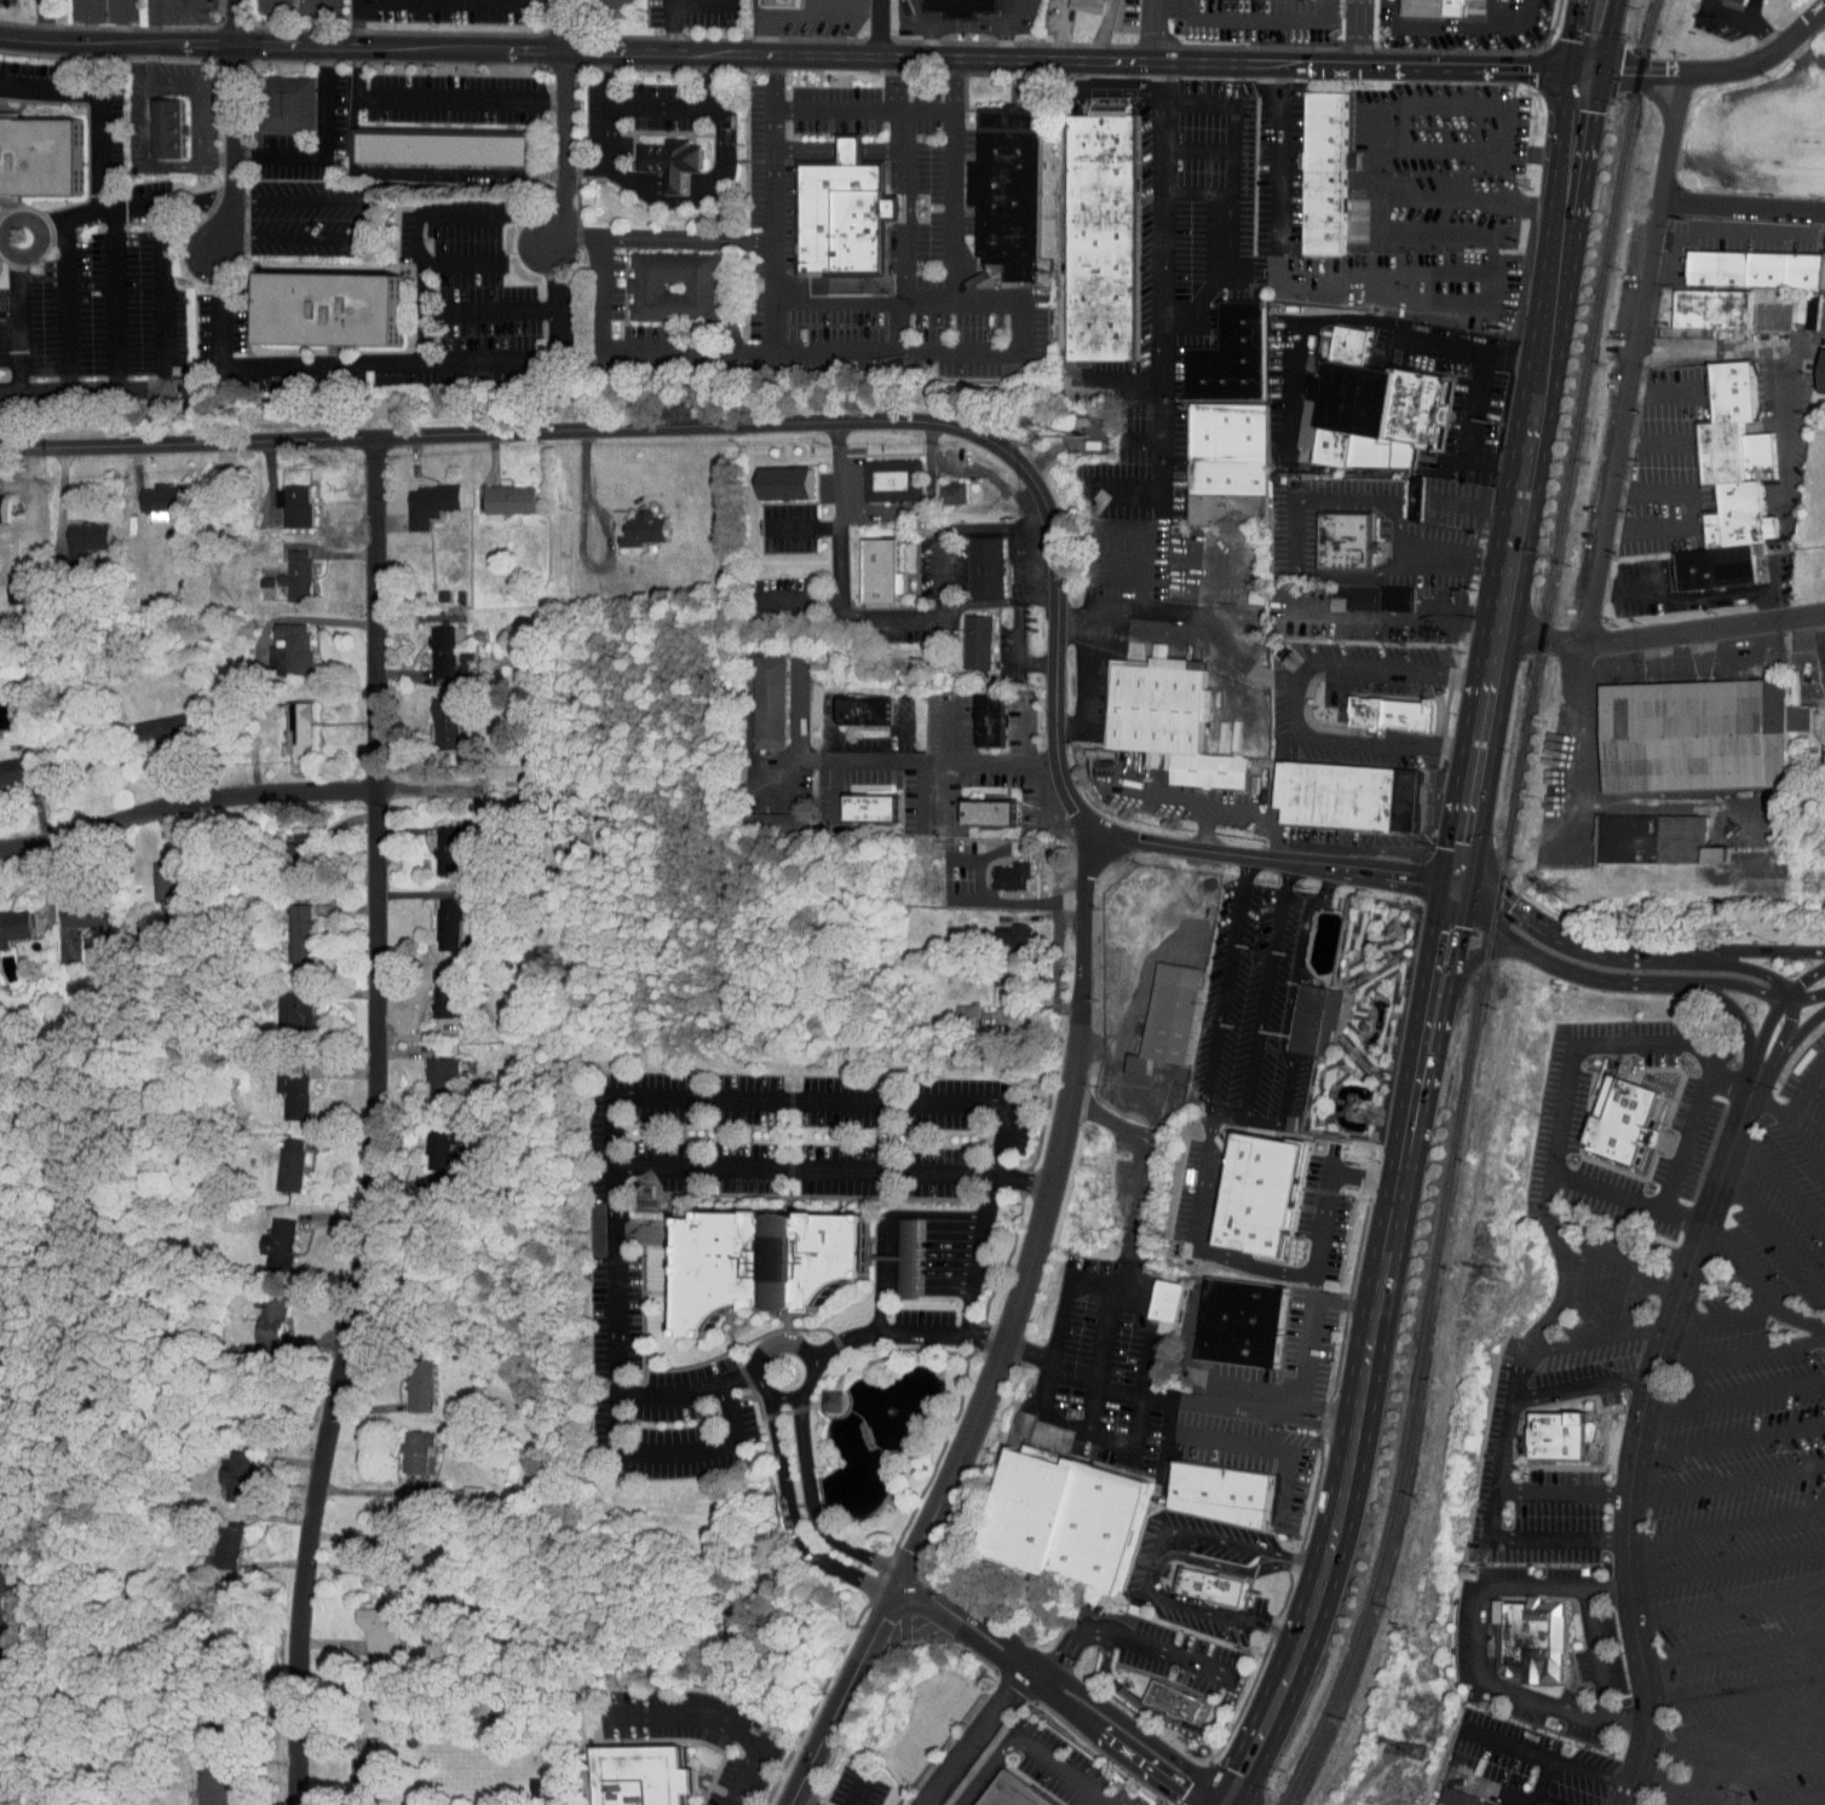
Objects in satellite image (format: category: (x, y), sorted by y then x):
road: (542, 0)
building: (781, 2)
building: (1075, 2)
road: (159, 5)
building: (963, 5)
building: (1437, 7)
road: (805, 10)
road: (1250, 13)
road: (41, 21)
road: (87, 22)
road: (123, 22)
road: (235, 22)
road: (276, 23)
road: (358, 23)
road: (669, 25)
road: (879, 25)
road: (928, 25)
road: (1433, 25)
road: (1508, 25)
road: (978, 27)
road: (1042, 28)
road: (1087, 29)
road: (1151, 30)
road: (1358, 33)
road: (1577, 38)
road: (1604, 40)
road: (790, 52)
road: (1711, 71)
traffic signals: (1582, 76)
road: (775, 80)
road: (897, 82)
road: (46, 90)
road: (1101, 90)
road: (201, 94)
road: (434, 99)
road: (679, 99)
road: (1658, 100)
building: (287, 105)
road: (1386, 105)
road: (799, 109)
road: (608, 111)
building: (152, 122)
road: (93, 125)
road: (564, 125)
building: (1743, 127)
road: (150, 145)
building: (441, 146)
road: (327, 148)
road: (840, 149)
road: (1197, 149)
road: (232, 150)
road: (905, 150)
building: (40, 154)
building: (656, 155)
road: (1278, 155)
building: (1824, 161)
road: (588, 171)
building: (1325, 173)
road: (691, 184)
road: (1197, 192)
road: (1228, 202)
road: (1741, 202)
building: (1009, 203)
road: (121, 204)
road: (415, 215)
building: (841, 215)
road: (370, 225)
road: (658, 237)
building: (1101, 237)
road: (904, 244)
road: (462, 263)
building: (1729, 281)
road: (1479, 283)
building: (674, 284)
road: (1163, 287)
road: (116, 298)
road: (864, 300)
road: (68, 305)
building: (1797, 306)
building: (329, 308)
road: (488, 313)
road: (1353, 319)
road: (13, 321)
road: (1732, 340)
road: (634, 345)
road: (1023, 348)
building: (1232, 356)
road: (382, 367)
road: (162, 369)
road: (1772, 371)
road: (1115, 381)
building: (1824, 381)
road: (1664, 391)
building: (1378, 411)
road: (707, 423)
road: (1469, 431)
road: (1141, 438)
road: (1654, 440)
road: (1616, 460)
road: (932, 465)
building: (1230, 465)
building: (879, 472)
building: (770, 475)
road: (1525, 480)
building: (939, 485)
road: (1123, 485)
building: (1729, 485)
building: (495, 491)
building: (145, 492)
building: (415, 496)
building: (280, 497)
road: (61, 502)
road: (887, 511)
road: (1691, 511)
building: (628, 521)
road: (1290, 524)
road: (804, 526)
road: (960, 530)
building: (71, 532)
road: (609, 541)
building: (1345, 542)
road: (1452, 557)
building: (974, 559)
building: (865, 564)
building: (282, 567)
road: (842, 569)
road: (1694, 595)
road: (800, 600)
road: (998, 600)
road: (1204, 621)
road: (1411, 622)
road: (1664, 630)
building: (963, 634)
building: (278, 639)
building: (432, 646)
road: (1021, 646)
road: (1087, 674)
building: (755, 694)
road: (1296, 697)
building: (850, 703)
building: (1388, 711)
building: (975, 713)
building: (431, 715)
building: (283, 719)
building: (1167, 720)
building: (146, 721)
building: (1696, 737)
road: (876, 759)
building: (6, 763)
road: (234, 792)
building: (1347, 798)
building: (857, 800)
building: (973, 805)
road: (1239, 808)
building: (764, 814)
building: (986, 840)
building: (1652, 840)
building: (434, 842)
building: (281, 852)
road: (1273, 858)
building: (997, 869)
building: (154, 877)
traffic signals: (1461, 884)
power tower: (1562, 889)
building: (71, 906)
railway: (1495, 910)
building: (7, 916)
building: (434, 917)
building: (286, 925)
building: (1002, 929)
road: (1132, 955)
road: (1634, 955)
road: (1744, 967)
building: (990, 968)
road: (1466, 968)
road: (1606, 979)
road: (1803, 980)
building: (433, 985)
road: (1265, 990)
road: (1806, 996)
building: (280, 1003)
building: (952, 1008)
road: (1732, 1013)
building: (1175, 1014)
building: (1314, 1020)
road: (1763, 1027)
road: (1778, 1044)
road: (1785, 1046)
building: (428, 1068)
road: (1814, 1068)
road: (1751, 1075)
road: (1733, 1078)
building: (280, 1085)
road: (1815, 1091)
road: (810, 1100)
road: (1795, 1101)
road: (1767, 1105)
road: (1743, 1111)
road: (1094, 1115)
building: (1619, 1118)
road: (1250, 1120)
road: (372, 1121)
building: (427, 1136)
road: (1804, 1146)
building: (276, 1158)
road: (996, 1159)
road: (1680, 1160)
road: (804, 1169)
road: (1021, 1182)
road: (1779, 1184)
road: (1606, 1190)
building: (1260, 1194)
road: (1127, 1204)
road: (943, 1213)
road: (1043, 1216)
road: (1771, 1234)
building: (264, 1235)
road: (1193, 1241)
building: (892, 1251)
road: (1627, 1251)
road: (1316, 1257)
building: (764, 1259)
road: (881, 1267)
road: (1738, 1268)
road: (615, 1271)
power tower: (1498, 1274)
road: (974, 1275)
road: (1562, 1288)
road: (1141, 1291)
road: (1619, 1292)
building: (1151, 1293)
building: (1167, 1298)
road: (1343, 1304)
building: (257, 1310)
road: (1720, 1316)
road: (1801, 1319)
building: (1242, 1321)
road: (900, 1333)
road: (1593, 1339)
road: (1738, 1353)
road: (1368, 1354)
road: (1105, 1356)
building: (404, 1378)
road: (1582, 1385)
road: (689, 1391)
road: (795, 1392)
building: (817, 1394)
road: (1733, 1394)
building: (830, 1399)
road: (1245, 1408)
road: (1083, 1425)
building: (1558, 1434)
road: (1728, 1438)
road: (1197, 1440)
building: (402, 1443)
road: (707, 1449)
road: (1288, 1455)
road: (1630, 1464)
building: (224, 1470)
road: (1726, 1482)
parking lot: (1748, 1484)
road: (1564, 1490)
building: (1221, 1492)
building: (1063, 1517)
road: (790, 1522)
road: (818, 1524)
road: (1726, 1526)
building: (214, 1539)
road: (1169, 1555)
road: (1151, 1563)
road: (1727, 1567)
building: (1211, 1585)
road: (1554, 1587)
road: (897, 1588)
road: (908, 1599)
road: (1729, 1608)
building: (364, 1622)
road: (1478, 1632)
road: (1122, 1638)
building: (1528, 1639)
road: (1734, 1651)
road: (1599, 1655)
road: (1077, 1690)
road: (1737, 1690)
road: (841, 1700)
building: (1174, 1700)
road: (1537, 1700)
road: (1059, 1703)
road: (1162, 1712)
road: (1622, 1719)
road: (720, 1724)
road: (978, 1731)
road: (1734, 1732)
road: (1029, 1741)
power tower: (1418, 1751)
road: (1527, 1752)
building: (350, 1767)
road: (1590, 1772)
road: (1751, 1775)
building: (641, 1776)
building: (197, 1781)
road: (858, 1790)
road: (1679, 1790)
building: (1019, 1792)
traffic signals: (1222, 1793)
road: (1230, 1799)
building: (1458, 1799)
road: (1550, 1799)
building: (1411, 1801)
road: (791, 1804)
road: (1819, 1804)

